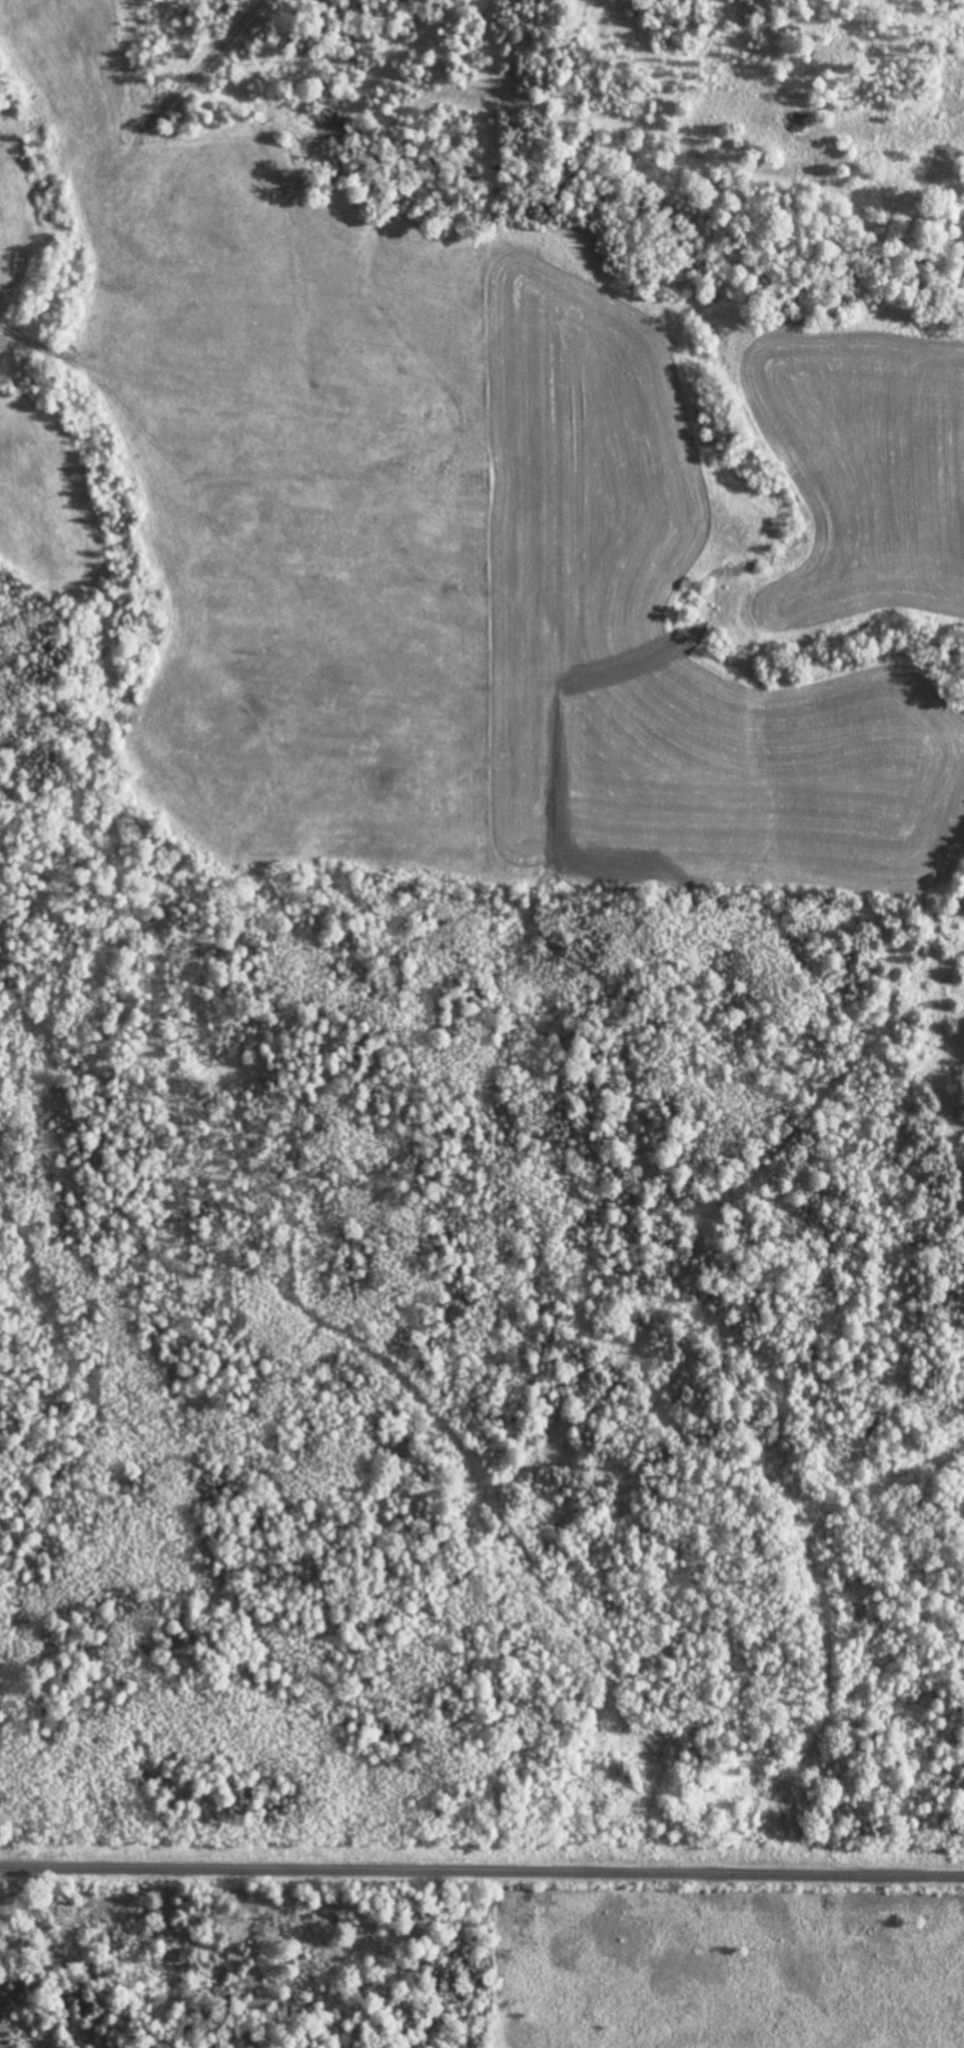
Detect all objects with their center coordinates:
crop: (464, 507)
road: (482, 1868)

